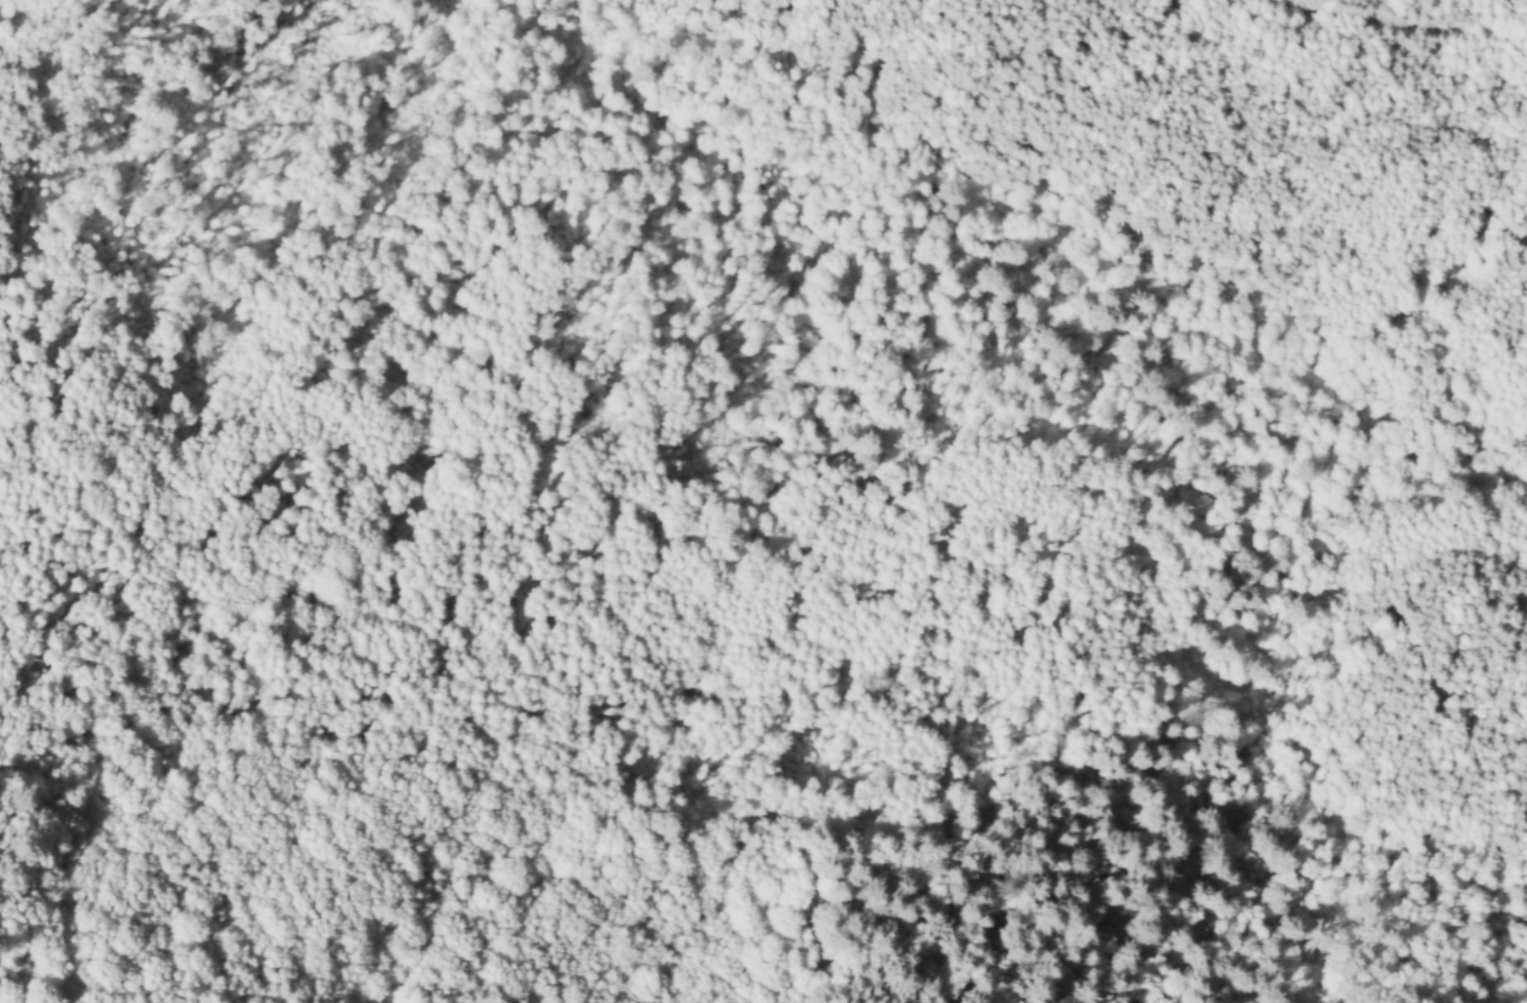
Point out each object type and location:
road: (1399, 21)

